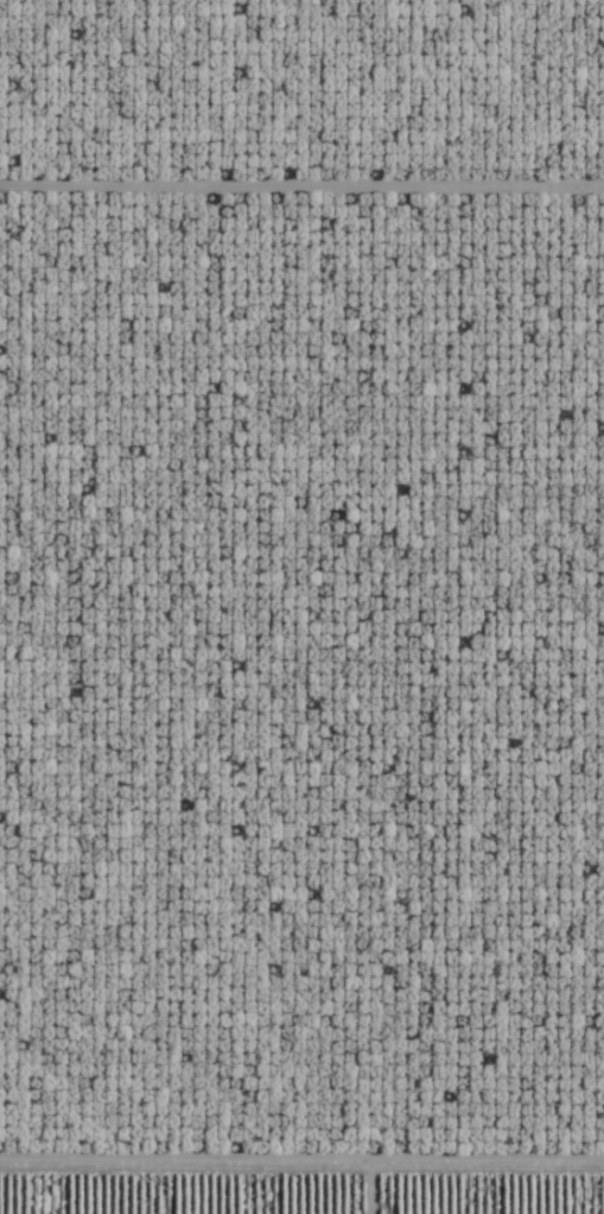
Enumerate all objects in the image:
crop: (304, 1187)
road: (301, 1210)

